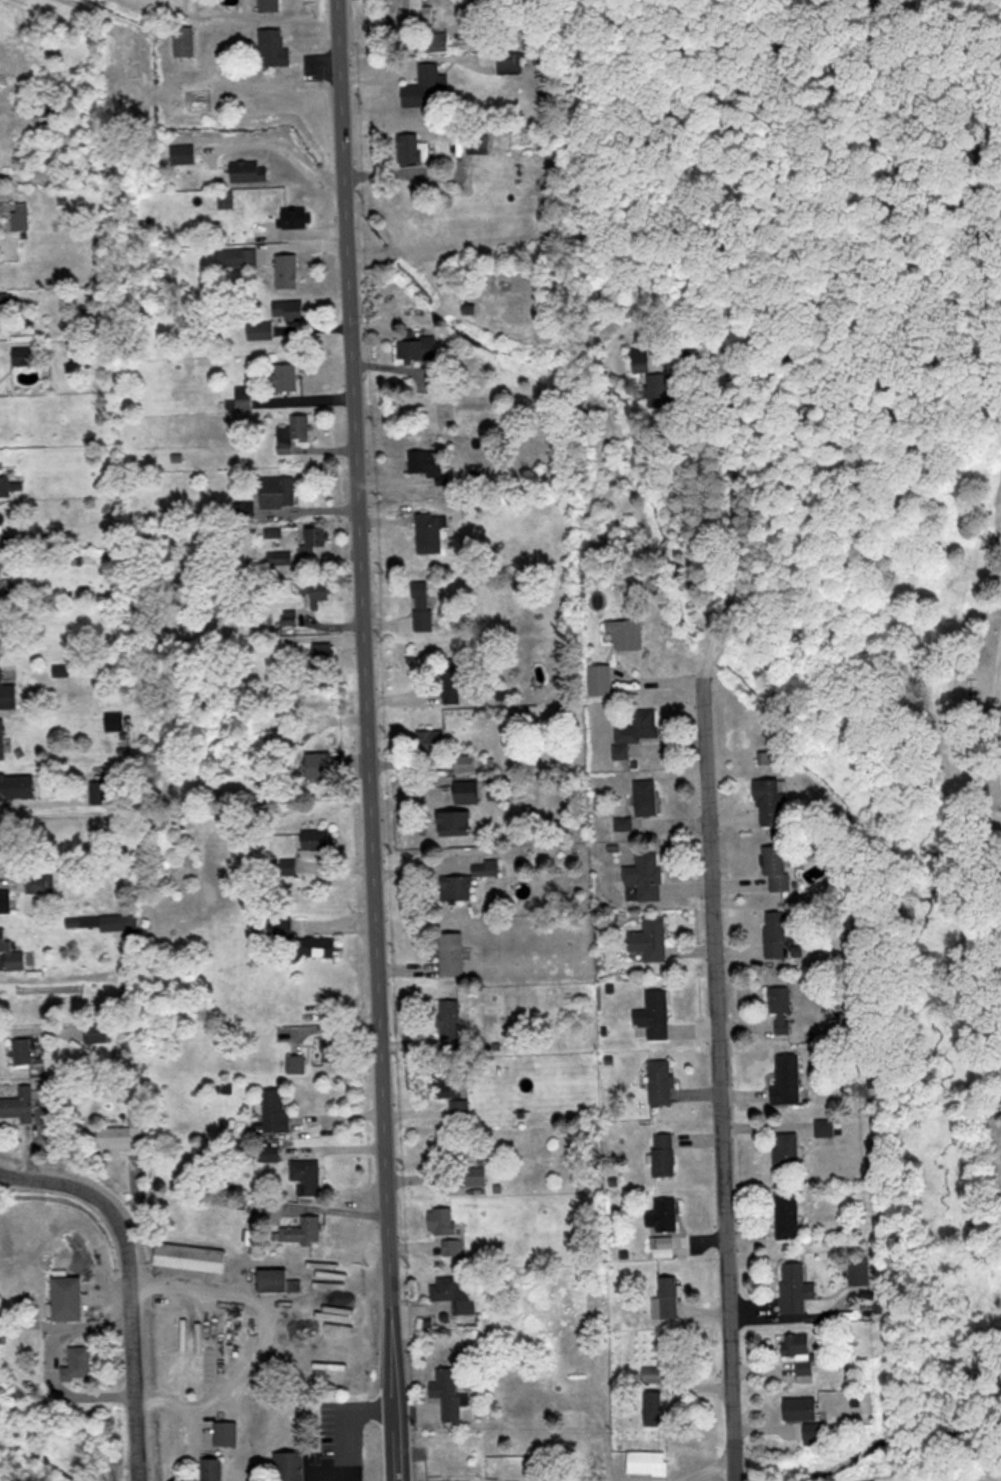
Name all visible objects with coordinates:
building: (270, 5)
building: (425, 23)
building: (185, 40)
building: (274, 46)
building: (510, 61)
building: (426, 86)
building: (471, 142)
building: (413, 147)
building: (49, 149)
building: (184, 152)
building: (250, 170)
building: (226, 198)
building: (22, 214)
building: (298, 216)
building: (238, 256)
building: (288, 269)
building: (5, 302)
building: (289, 308)
building: (470, 308)
building: (260, 330)
building: (418, 347)
building: (26, 355)
building: (641, 358)
building: (286, 376)
building: (662, 388)
building: (244, 397)
building: (294, 432)
building: (5, 485)
building: (279, 491)
building: (430, 532)
building: (1, 536)
building: (316, 539)
building: (280, 557)
building: (14, 563)
building: (0, 580)
building: (317, 591)
building: (421, 595)
building: (629, 633)
building: (325, 651)
building: (602, 679)
building: (454, 684)
building: (8, 694)
road: (996, 700)
building: (115, 720)
building: (641, 727)
road: (1000, 738)
road: (362, 740)
building: (431, 741)
building: (768, 757)
building: (465, 762)
building: (321, 765)
building: (225, 766)
building: (3, 786)
building: (468, 791)
building: (646, 796)
building: (770, 801)
building: (450, 822)
park: (925, 837)
building: (318, 839)
building: (289, 865)
building: (778, 867)
building: (646, 874)
building: (467, 880)
building: (40, 882)
road: (705, 891)
building: (4, 900)
building: (103, 921)
building: (778, 932)
building: (651, 938)
building: (318, 945)
building: (12, 952)
building: (452, 952)
building: (782, 1008)
building: (655, 1014)
building: (451, 1023)
building: (97, 1032)
building: (335, 1045)
building: (23, 1050)
building: (788, 1077)
building: (662, 1081)
building: (454, 1084)
building: (19, 1104)
building: (460, 1107)
building: (276, 1109)
building: (826, 1127)
building: (121, 1135)
building: (455, 1147)
building: (787, 1148)
building: (271, 1153)
building: (665, 1154)
building: (306, 1175)
building: (474, 1175)
building: (788, 1214)
building: (664, 1215)
building: (445, 1221)
building: (302, 1230)
building: (452, 1246)
building: (191, 1256)
building: (278, 1280)
road: (123, 1287)
building: (794, 1287)
building: (456, 1293)
building: (68, 1297)
building: (669, 1297)
building: (800, 1351)
building: (79, 1363)
building: (653, 1374)
building: (449, 1392)
building: (518, 1406)
building: (354, 1407)
building: (655, 1408)
building: (802, 1408)
building: (227, 1433)
building: (357, 1435)
building: (648, 1463)
building: (291, 1466)
building: (214, 1469)

